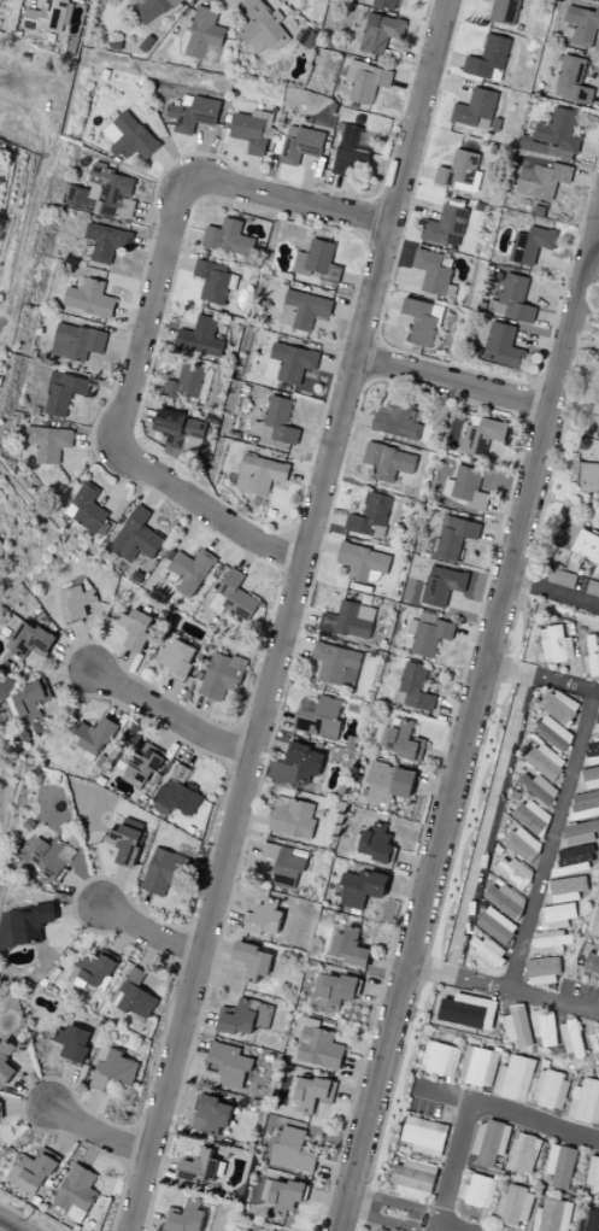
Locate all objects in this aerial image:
road: (34, 1)
building: (383, 2)
building: (503, 11)
building: (46, 16)
building: (259, 25)
building: (580, 25)
building: (202, 31)
building: (378, 31)
building: (487, 59)
building: (365, 81)
building: (571, 81)
building: (475, 109)
building: (192, 112)
building: (252, 130)
building: (129, 136)
building: (299, 145)
building: (351, 148)
building: (547, 154)
building: (458, 171)
building: (100, 192)
building: (445, 223)
road: (27, 236)
building: (228, 238)
building: (106, 241)
building: (530, 244)
road: (595, 245)
building: (316, 260)
building: (430, 271)
building: (213, 280)
building: (88, 298)
building: (512, 299)
building: (303, 309)
building: (419, 320)
road: (149, 321)
building: (201, 336)
building: (75, 341)
building: (503, 346)
building: (289, 362)
road: (434, 377)
road: (456, 381)
building: (63, 392)
building: (397, 420)
building: (275, 421)
building: (182, 430)
building: (481, 434)
building: (47, 442)
building: (387, 461)
building: (259, 474)
building: (587, 477)
building: (466, 487)
building: (86, 508)
building: (370, 515)
building: (135, 537)
building: (453, 537)
building: (586, 546)
building: (362, 562)
building: (189, 570)
building: (560, 576)
building: (441, 585)
building: (592, 587)
road: (553, 591)
building: (233, 596)
building: (75, 600)
road: (292, 616)
building: (348, 620)
building: (134, 628)
building: (428, 633)
building: (28, 639)
building: (554, 644)
building: (176, 655)
building: (591, 656)
building: (336, 663)
building: (221, 674)
road: (541, 680)
building: (413, 687)
building: (28, 703)
building: (558, 707)
road: (169, 716)
building: (318, 716)
building: (597, 719)
road: (470, 726)
building: (553, 733)
building: (94, 734)
building: (403, 741)
road: (481, 743)
building: (592, 750)
building: (304, 761)
building: (545, 761)
building: (142, 763)
building: (591, 776)
building: (388, 782)
building: (539, 787)
building: (176, 792)
building: (583, 804)
building: (532, 816)
building: (292, 817)
building: (581, 831)
building: (125, 840)
building: (376, 843)
building: (522, 843)
road: (553, 843)
building: (49, 856)
building: (571, 860)
building: (284, 863)
building: (163, 871)
building: (511, 872)
building: (362, 887)
building: (565, 887)
building: (503, 898)
building: (554, 915)
building: (265, 916)
building: (28, 922)
building: (595, 922)
building: (495, 925)
road: (148, 932)
building: (551, 940)
building: (350, 948)
building: (251, 960)
building: (591, 961)
building: (92, 971)
building: (541, 971)
building: (333, 990)
road: (503, 990)
building: (135, 995)
building: (466, 1010)
building: (246, 1016)
building: (517, 1025)
building: (542, 1026)
building: (570, 1038)
building: (71, 1042)
building: (594, 1042)
building: (318, 1047)
building: (5, 1054)
building: (437, 1057)
building: (229, 1063)
building: (476, 1066)
building: (113, 1069)
building: (513, 1078)
building: (550, 1089)
building: (311, 1092)
building: (585, 1101)
building: (0, 1113)
building: (213, 1113)
road: (507, 1114)
road: (95, 1132)
building: (423, 1135)
building: (488, 1143)
building: (292, 1150)
building: (523, 1154)
road: (451, 1166)
building: (559, 1166)
building: (200, 1167)
road: (439, 1168)
building: (30, 1172)
building: (593, 1176)
building: (413, 1177)
building: (76, 1189)
building: (477, 1190)
building: (282, 1195)
building: (513, 1206)
road: (28, 1215)
road: (401, 1215)
building: (551, 1215)
building: (186, 1217)
building: (588, 1221)
building: (269, 1230)

